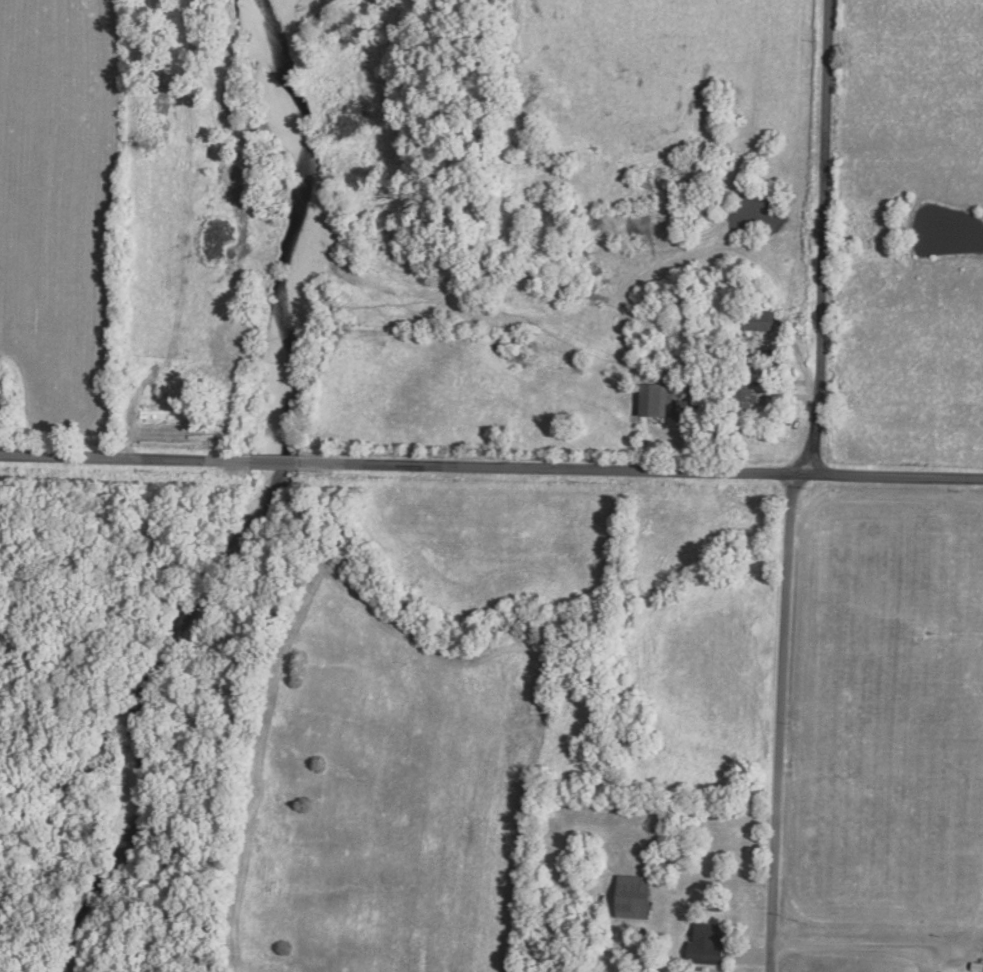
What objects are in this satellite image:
road: (819, 237)
building: (759, 320)
building: (772, 359)
building: (654, 400)
building: (746, 406)
building: (688, 410)
road: (126, 457)
road: (275, 460)
road: (640, 470)
road: (778, 722)
building: (634, 896)
building: (708, 942)
road: (849, 951)

